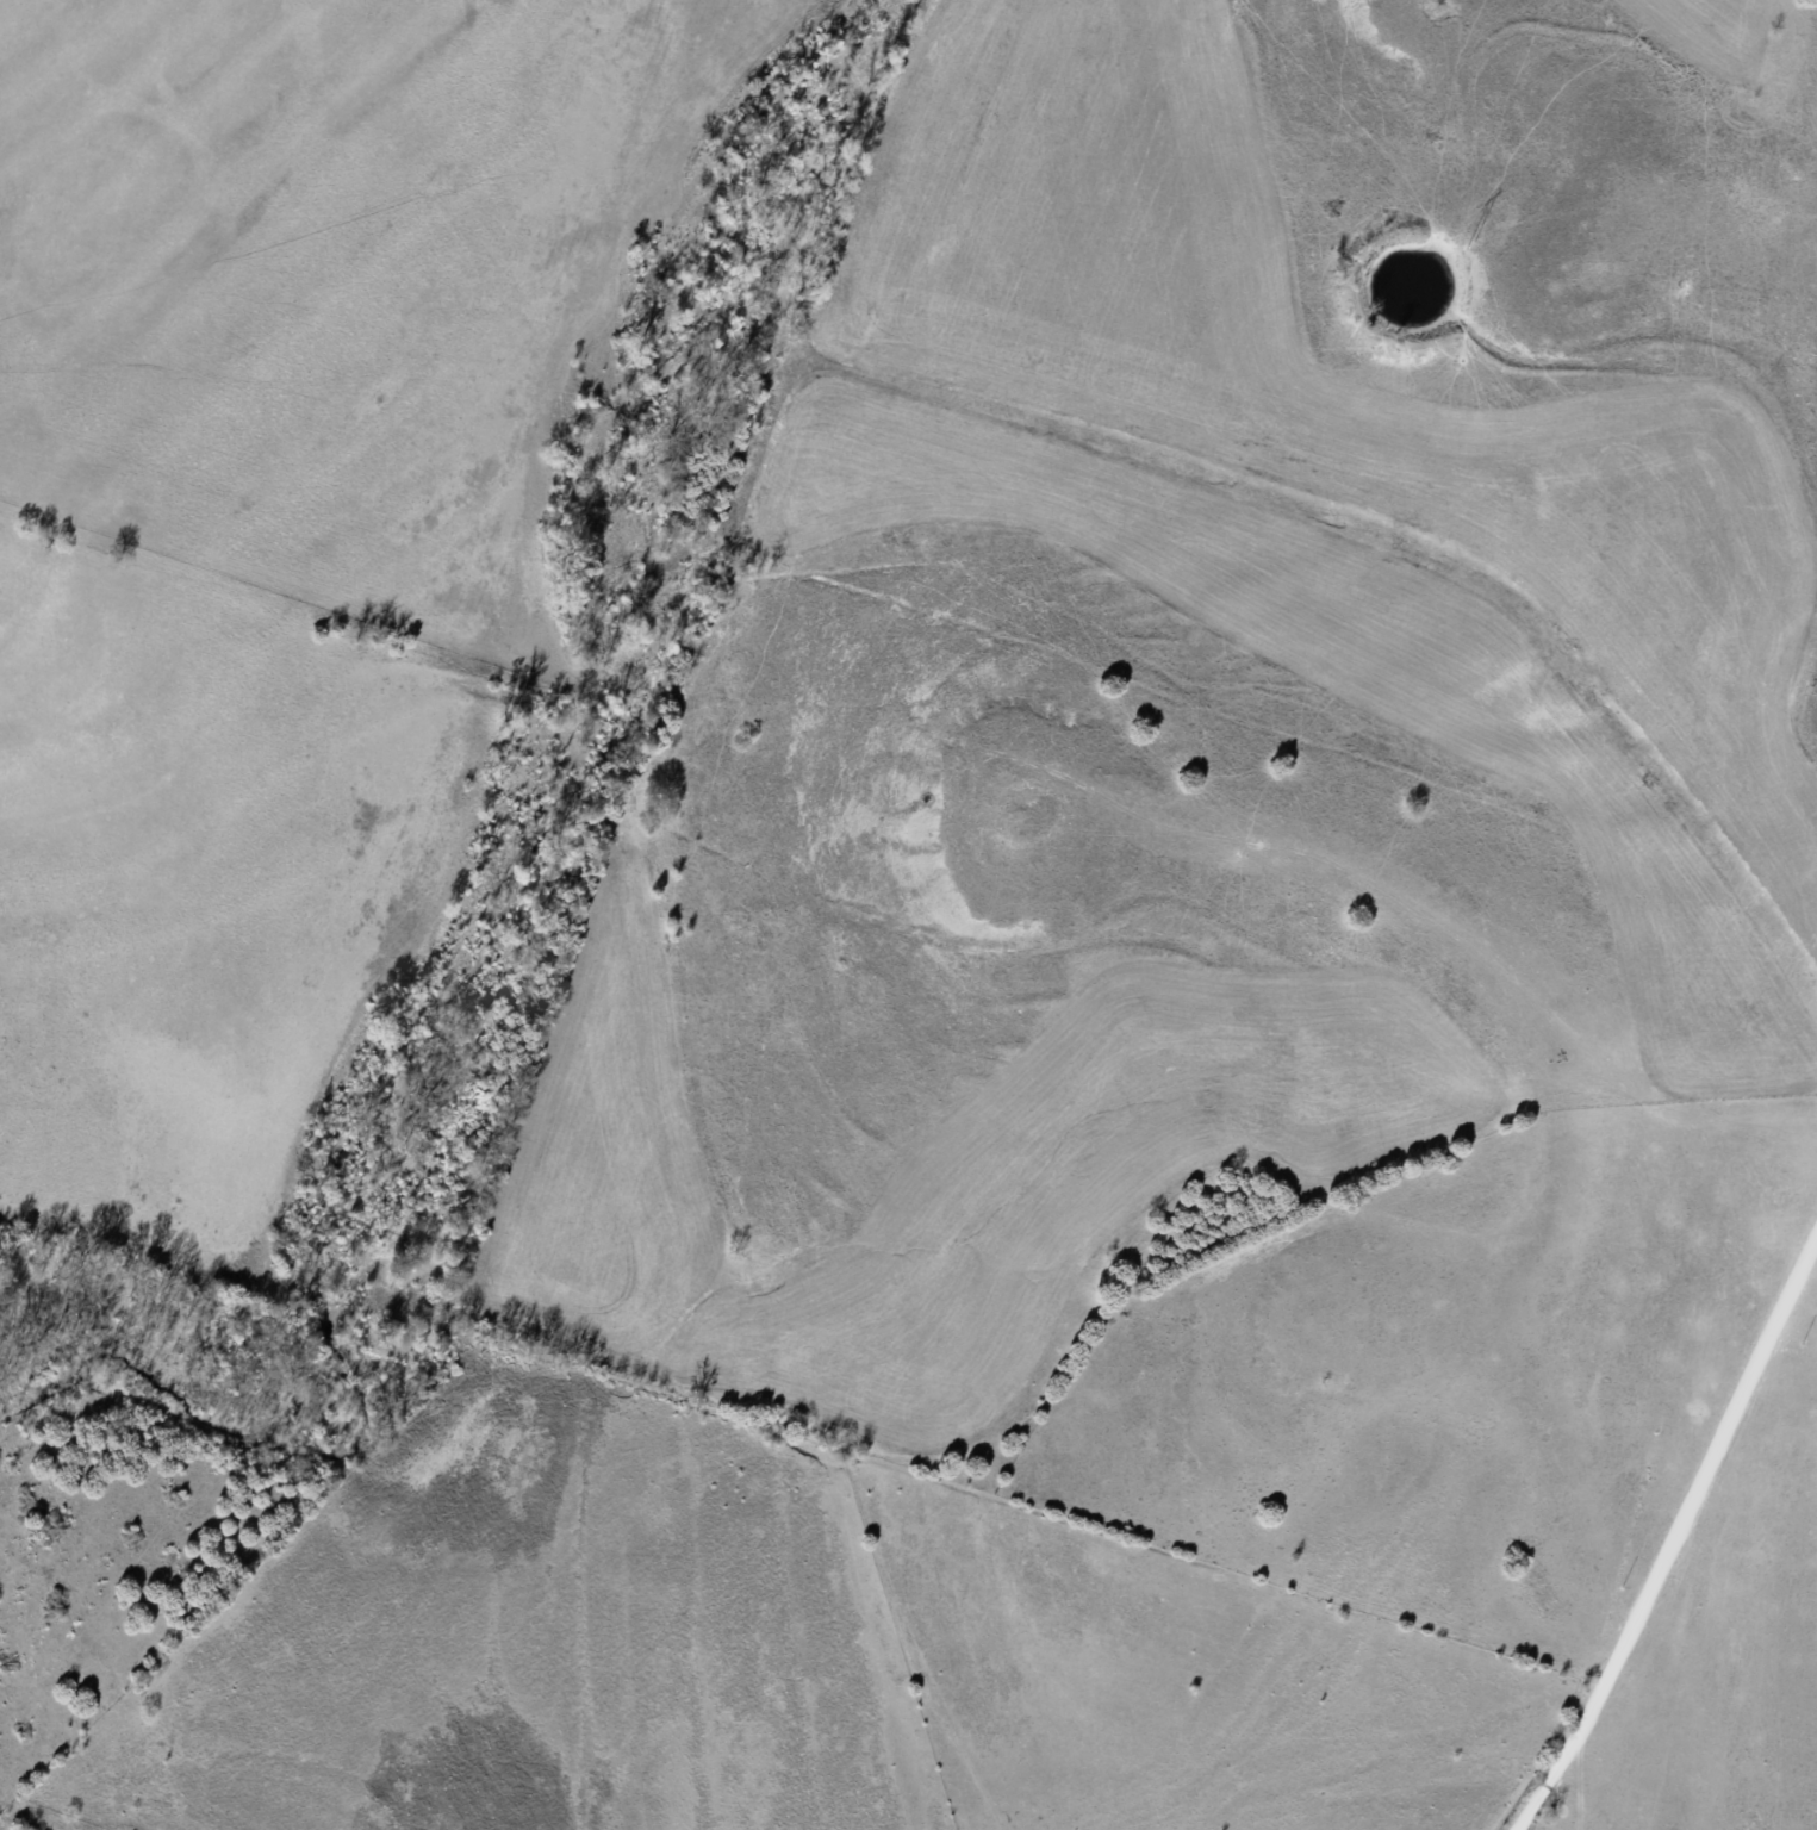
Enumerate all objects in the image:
road: (93, 99)
power tower: (1468, 245)
road: (27, 555)
road: (1715, 1608)

